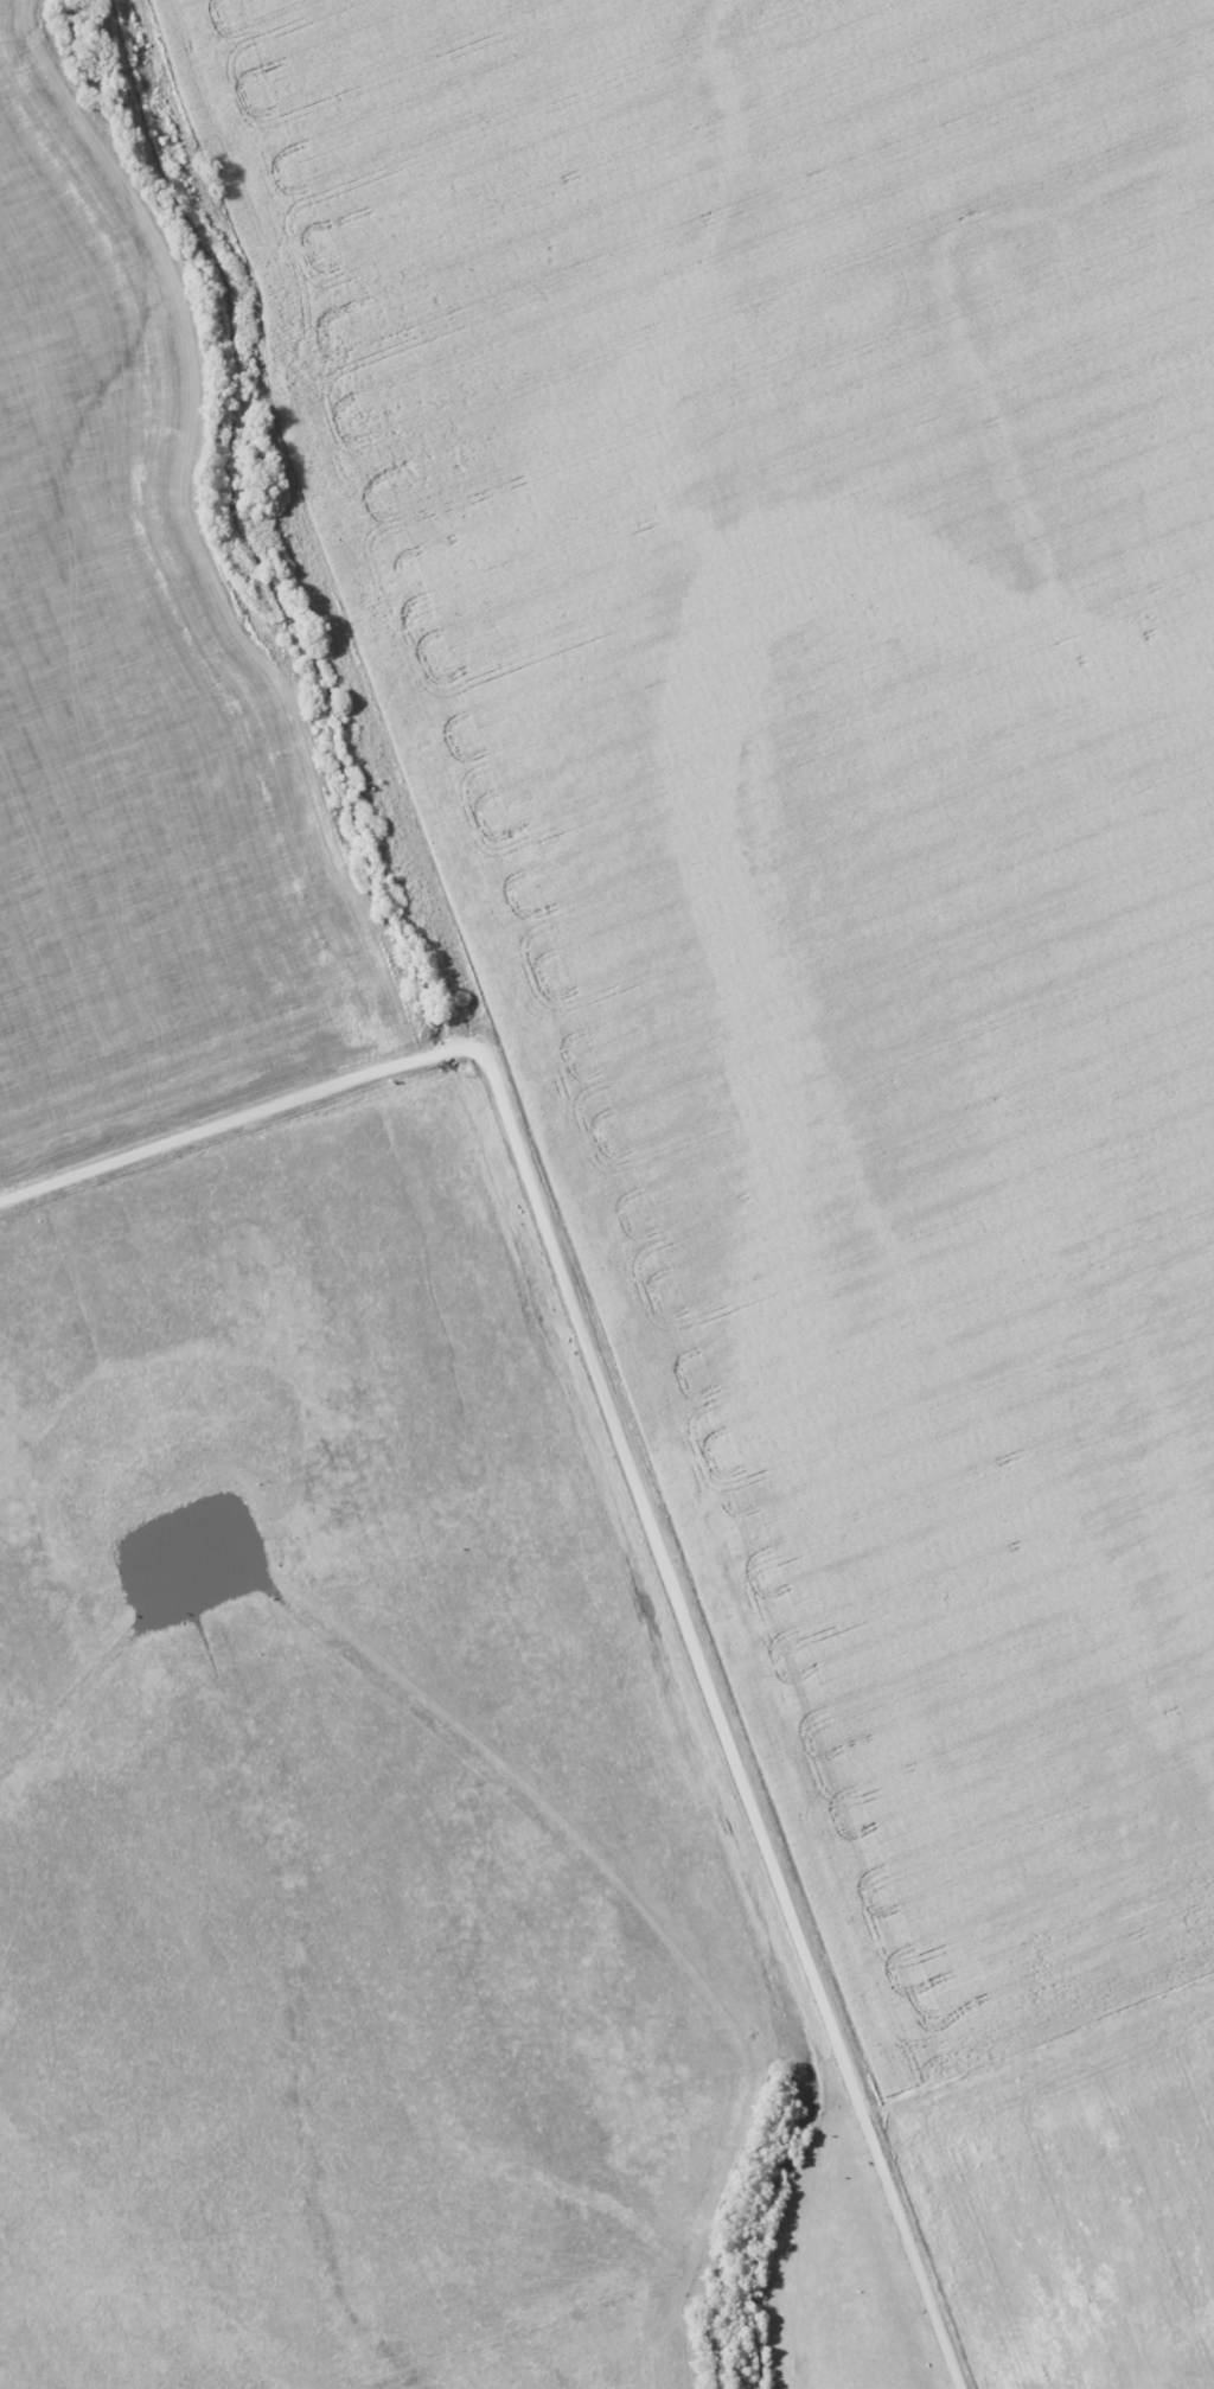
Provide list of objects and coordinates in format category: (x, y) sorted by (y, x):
road: (651, 1471)

